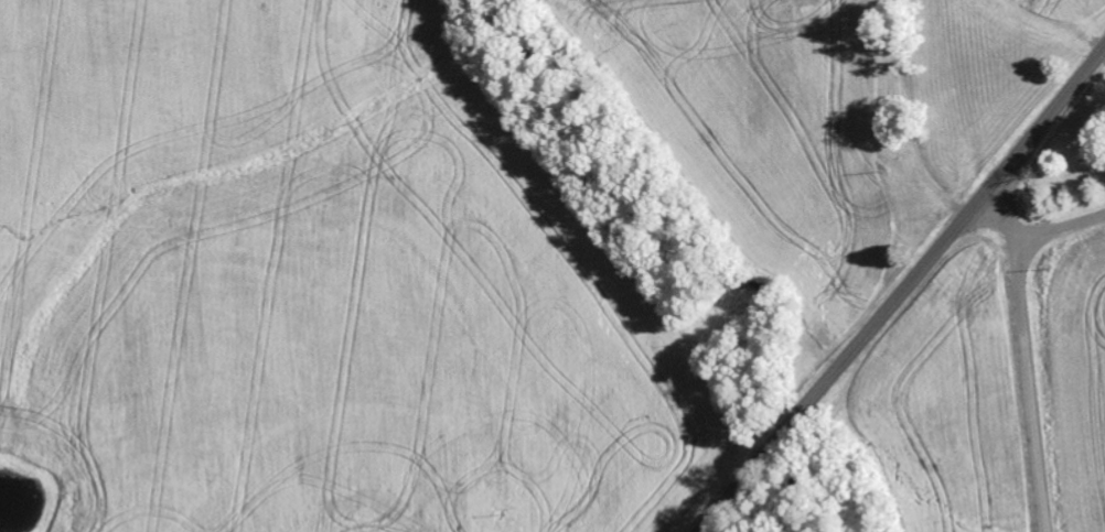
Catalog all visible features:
road: (1060, 232)
road: (904, 290)
road: (1027, 350)

